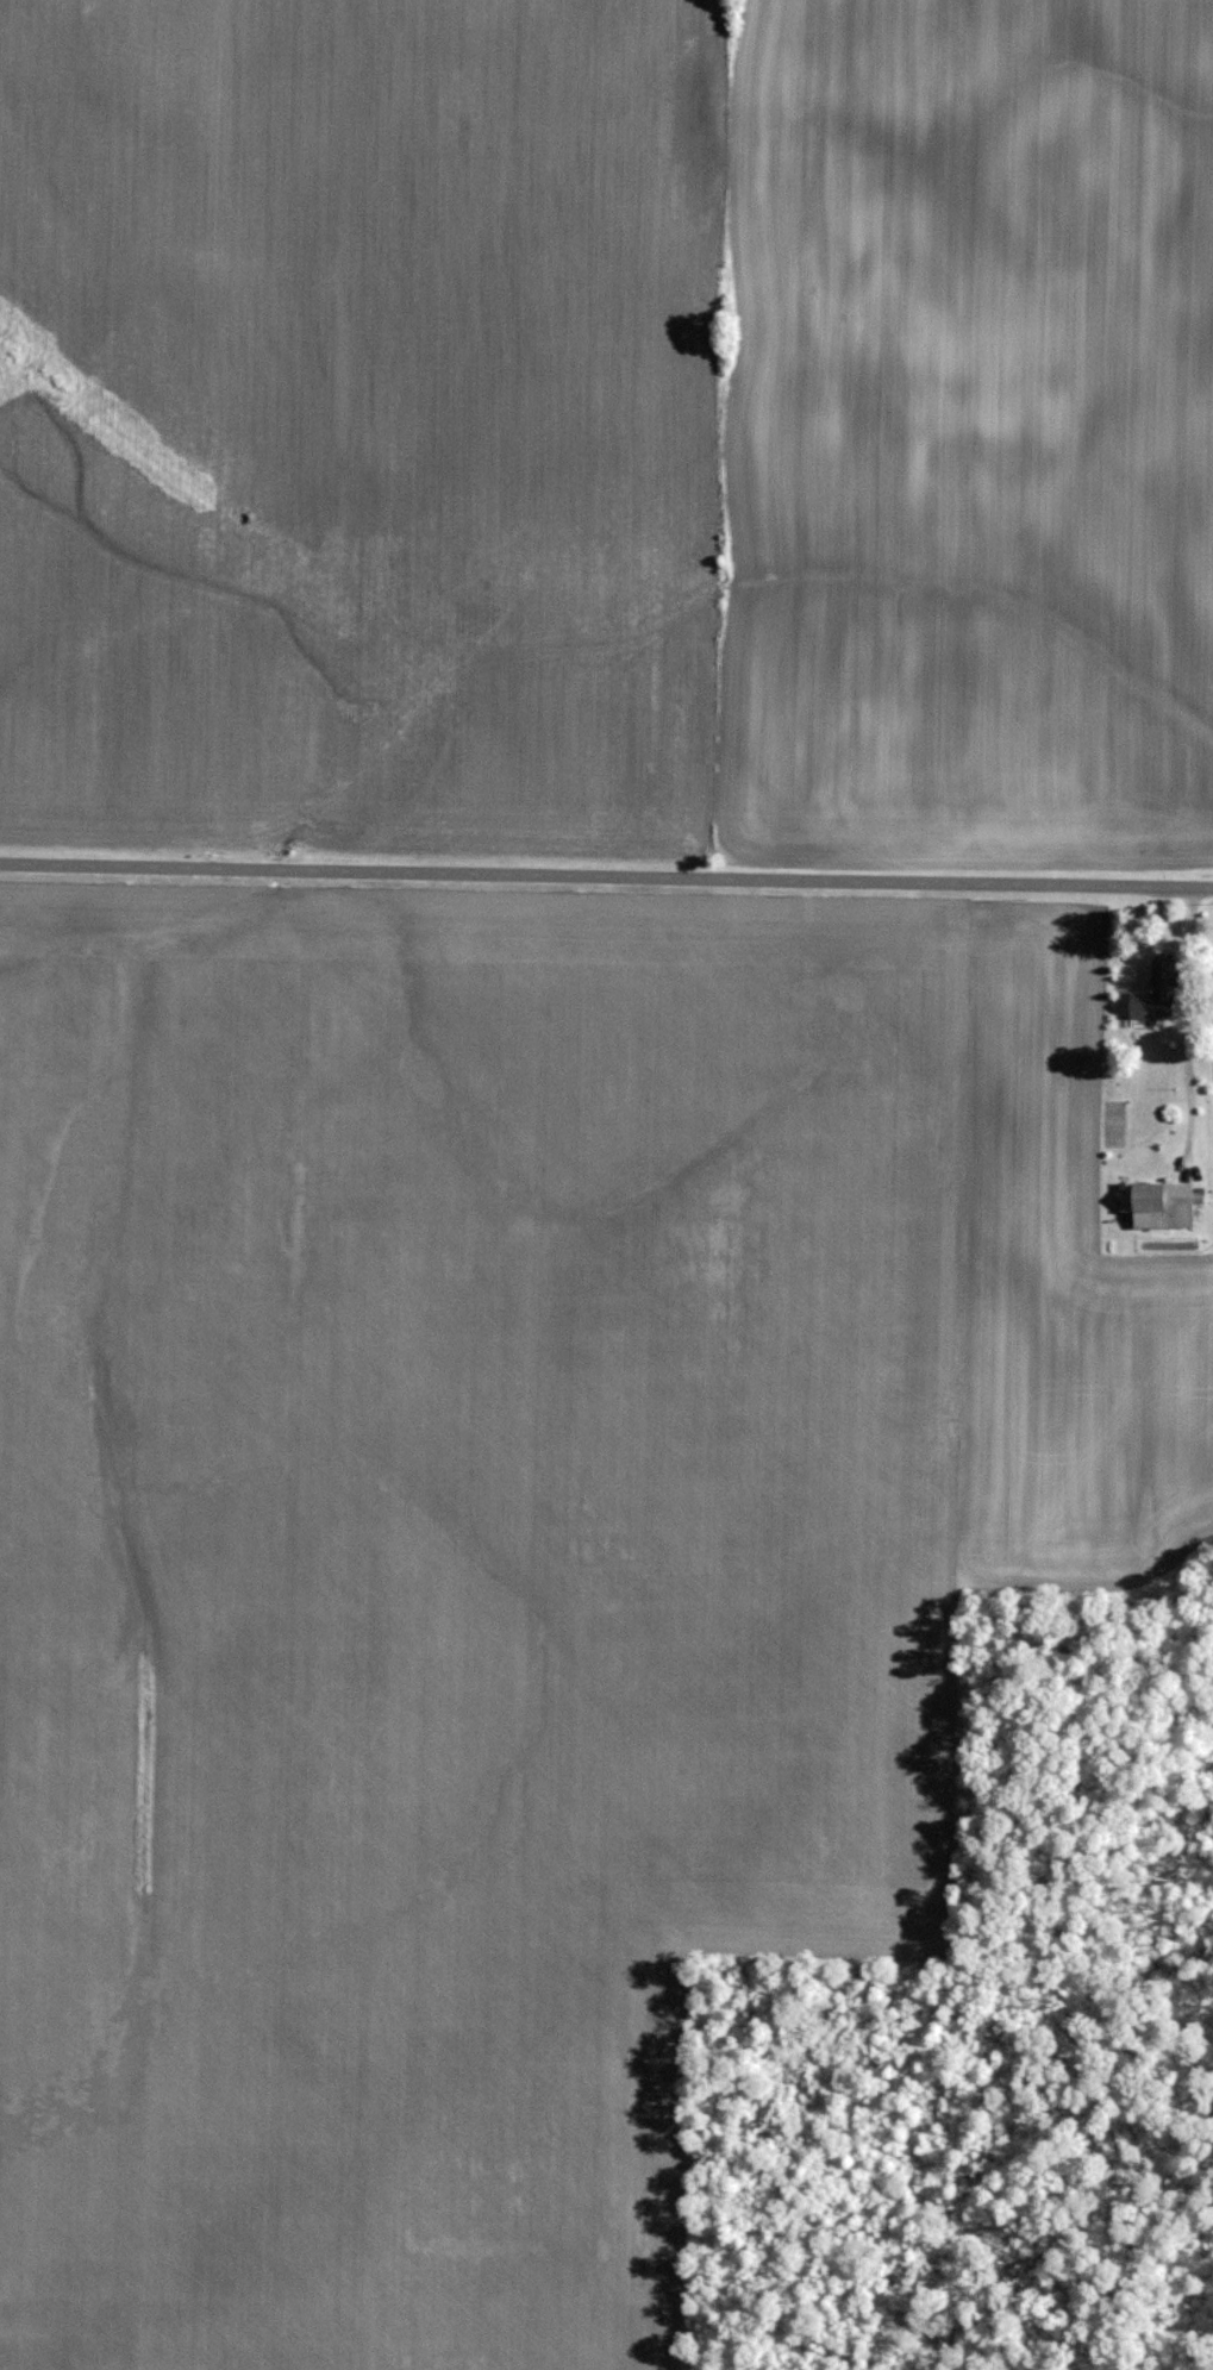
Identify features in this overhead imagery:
road: (606, 877)
road: (1188, 1025)
road: (844, 2045)
road: (1211, 2366)

